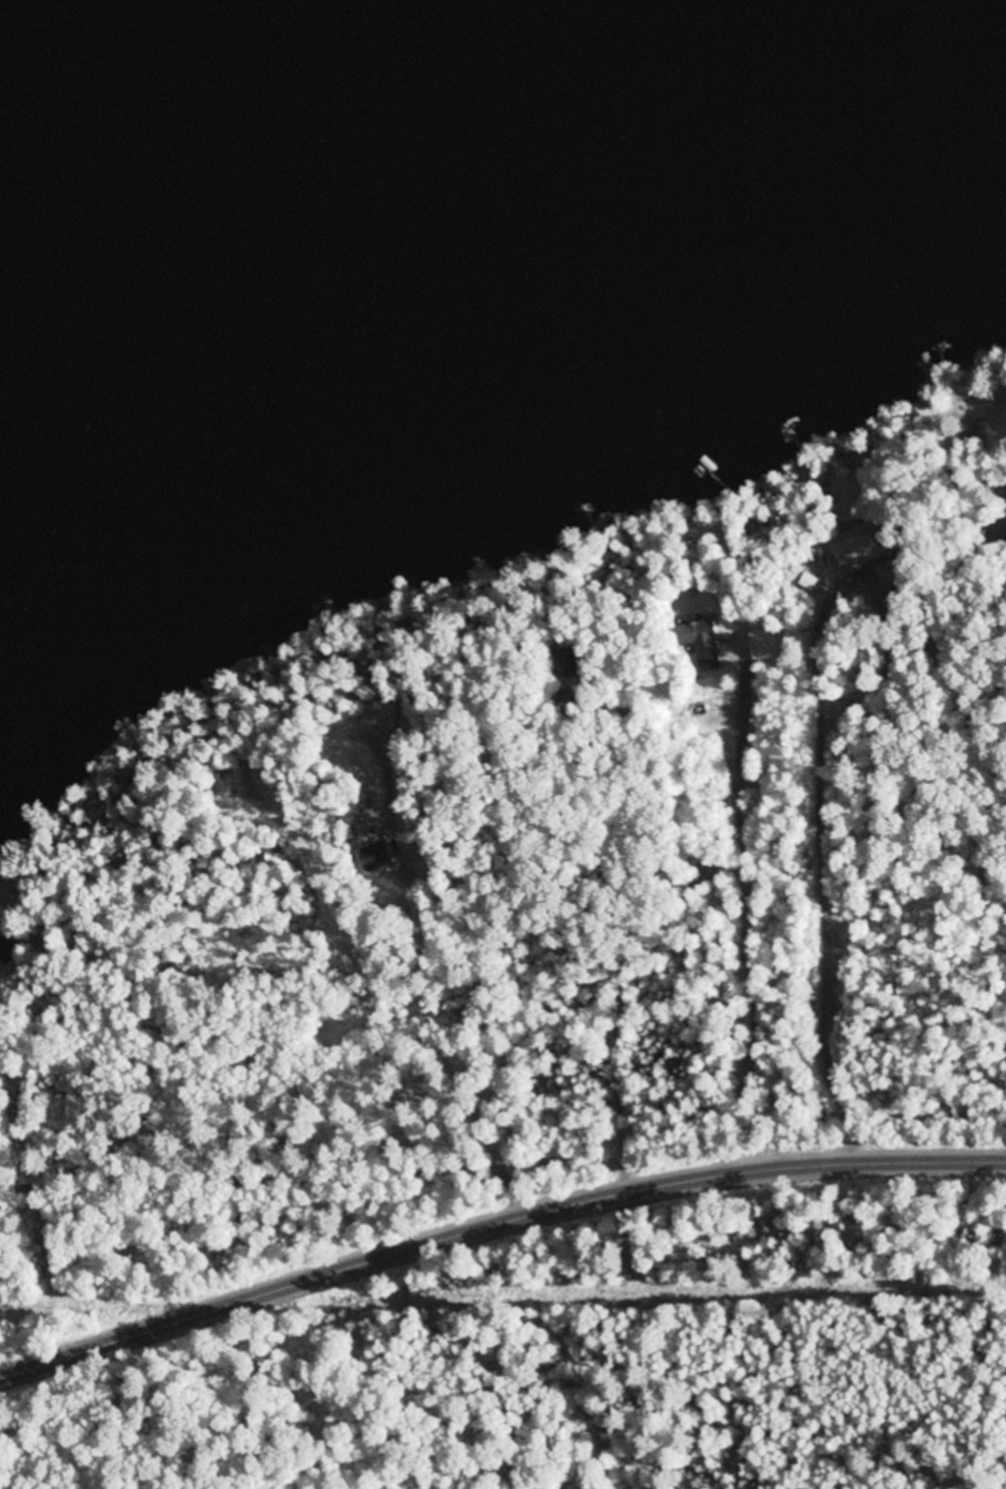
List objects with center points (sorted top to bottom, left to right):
road: (957, 523)
road: (555, 621)
road: (358, 885)
road: (699, 885)
road: (618, 898)
road: (261, 1116)
road: (494, 1219)

